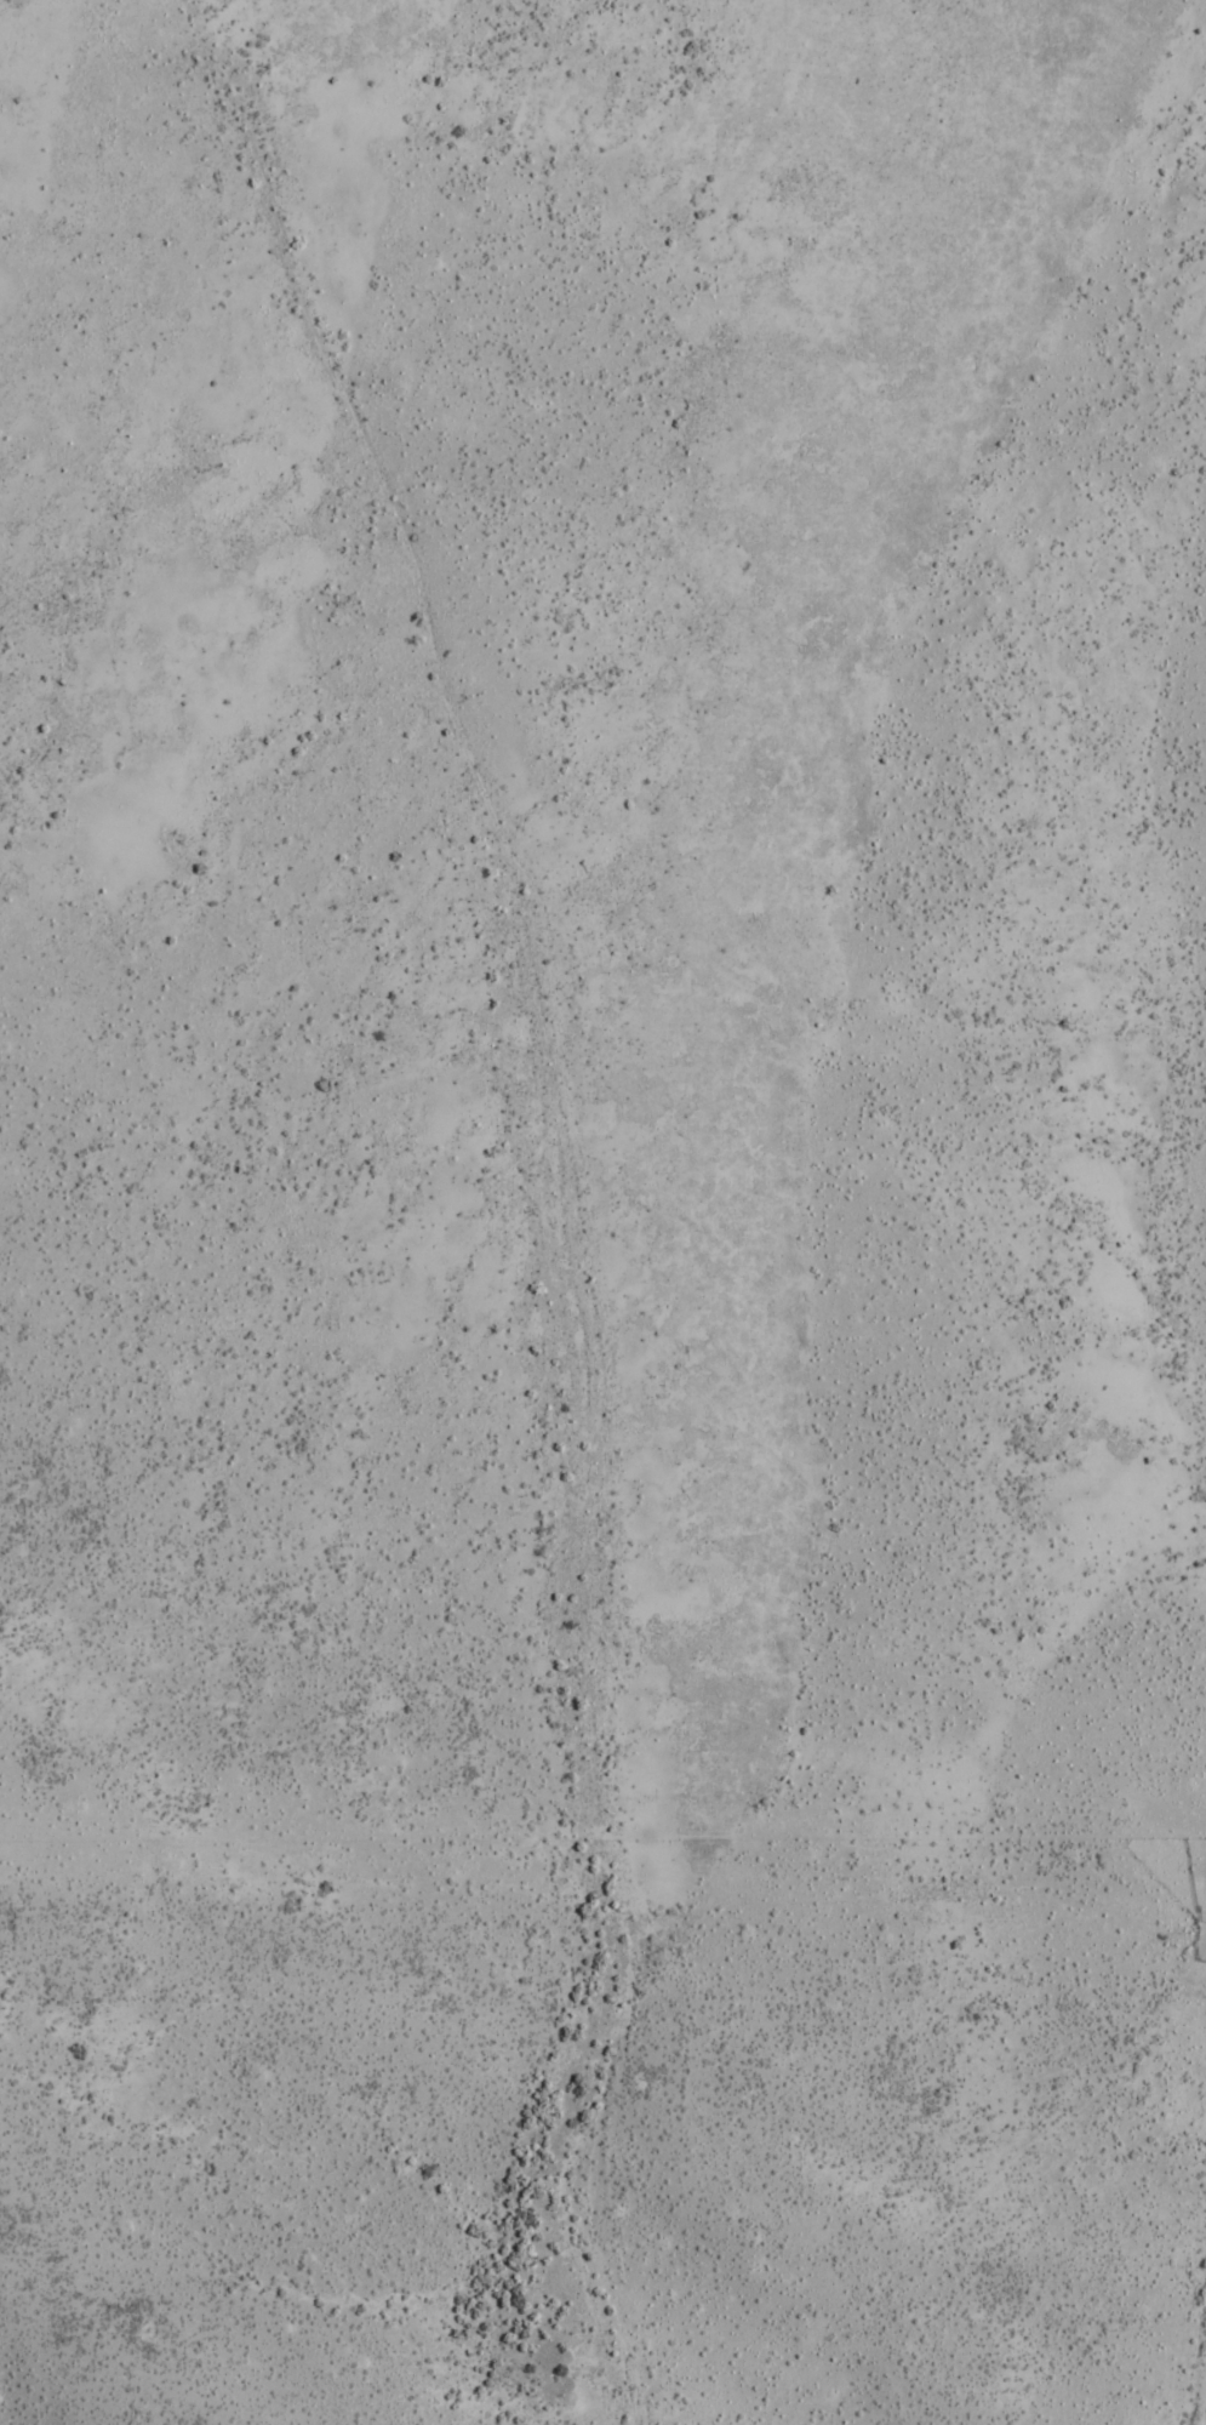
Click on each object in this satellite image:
road: (578, 1176)
road: (916, 1907)
road: (1182, 2242)

